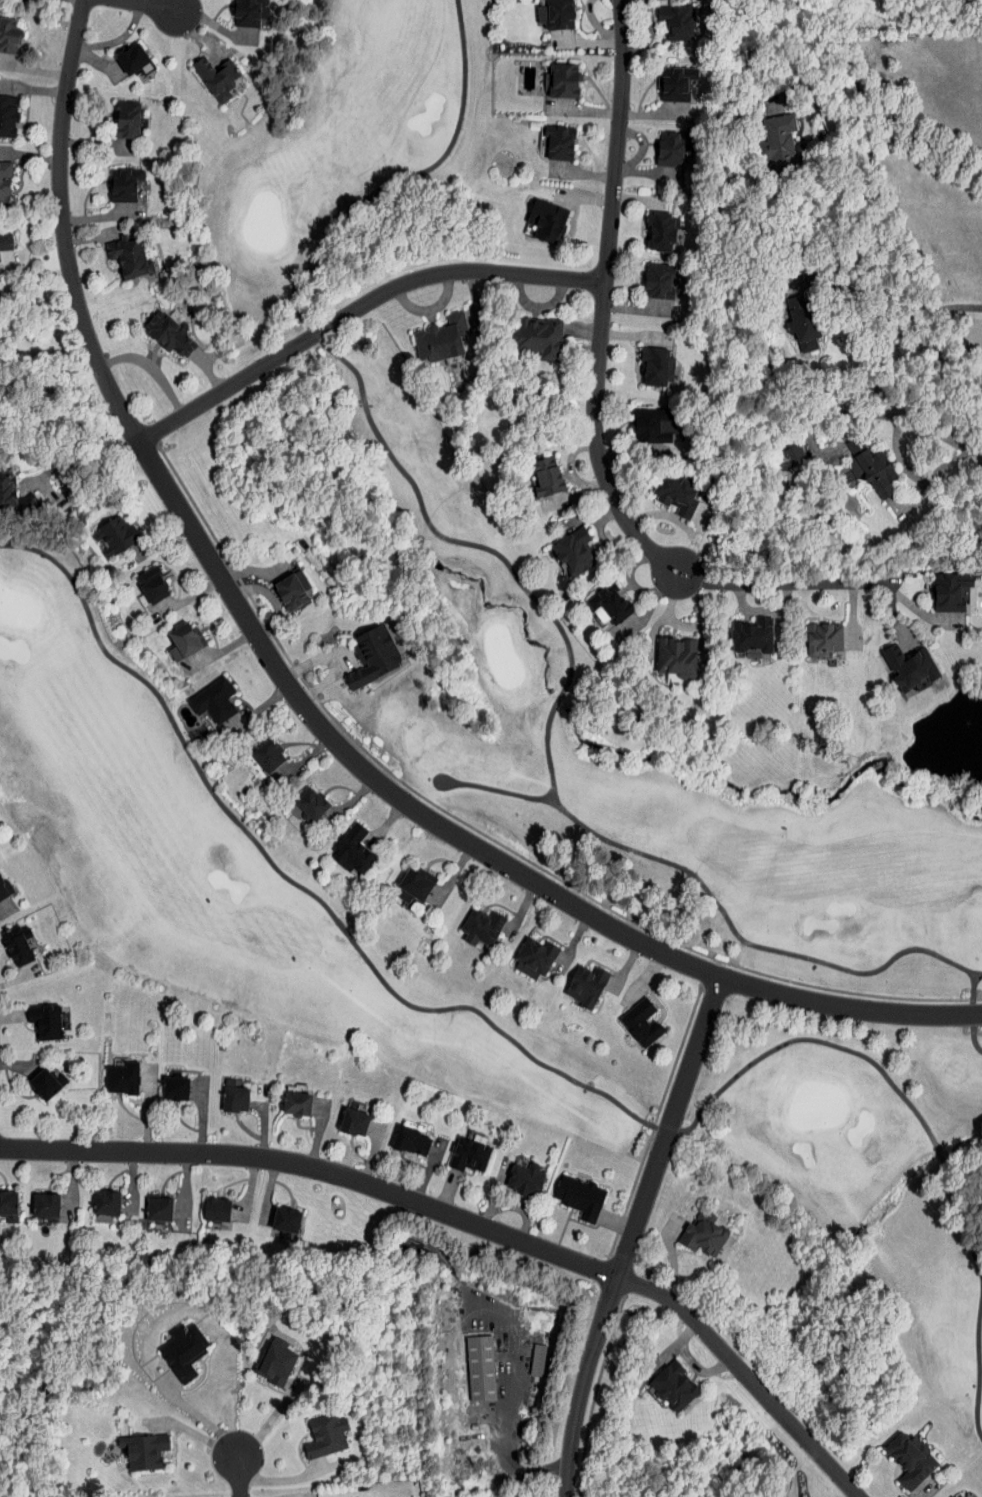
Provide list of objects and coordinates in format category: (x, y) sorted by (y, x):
road: (146, 4)
road: (178, 5)
building: (249, 12)
building: (555, 14)
park: (853, 15)
building: (679, 22)
road: (212, 24)
road: (196, 34)
building: (8, 36)
road: (93, 46)
building: (134, 60)
road: (34, 69)
building: (217, 77)
building: (563, 81)
building: (676, 84)
road: (33, 90)
building: (7, 116)
building: (126, 120)
road: (893, 128)
building: (778, 136)
building: (559, 141)
road: (97, 145)
building: (671, 148)
road: (29, 155)
building: (4, 183)
building: (124, 184)
road: (98, 216)
building: (547, 221)
building: (660, 232)
road: (95, 236)
building: (5, 241)
road: (35, 241)
building: (128, 256)
road: (34, 271)
road: (474, 298)
road: (601, 299)
road: (537, 306)
road: (356, 308)
road: (428, 309)
road: (884, 320)
building: (802, 322)
building: (169, 332)
building: (537, 338)
building: (440, 339)
building: (656, 366)
road: (149, 368)
road: (207, 373)
road: (922, 425)
building: (650, 428)
road: (814, 445)
building: (791, 456)
road: (80, 459)
building: (873, 472)
road: (914, 475)
building: (548, 484)
building: (675, 496)
road: (919, 498)
building: (114, 533)
road: (162, 542)
building: (573, 552)
road: (252, 571)
building: (151, 583)
building: (292, 588)
building: (950, 592)
road: (188, 598)
road: (273, 600)
building: (612, 602)
building: (752, 638)
building: (182, 640)
building: (823, 641)
road: (221, 651)
building: (372, 654)
road: (340, 655)
building: (676, 657)
building: (910, 668)
building: (214, 699)
road: (303, 703)
road: (256, 712)
building: (267, 754)
road: (308, 757)
park: (518, 773)
building: (310, 802)
road: (349, 802)
road: (386, 822)
building: (353, 849)
road: (453, 875)
building: (413, 884)
road: (522, 909)
building: (481, 926)
road: (574, 941)
building: (18, 944)
building: (534, 957)
road: (627, 966)
road: (645, 979)
building: (586, 984)
building: (44, 1020)
building: (641, 1022)
building: (122, 1077)
building: (46, 1081)
building: (174, 1084)
building: (234, 1094)
building: (296, 1102)
building: (354, 1118)
building: (411, 1141)
road: (315, 1144)
building: (468, 1154)
road: (370, 1160)
road: (317, 1166)
road: (76, 1172)
building: (522, 1177)
building: (580, 1197)
building: (7, 1202)
building: (105, 1202)
building: (44, 1205)
building: (159, 1206)
building: (215, 1208)
building: (285, 1222)
building: (703, 1232)
road: (631, 1234)
building: (183, 1350)
building: (274, 1363)
building: (480, 1368)
road: (519, 1368)
road: (745, 1376)
building: (674, 1386)
road: (272, 1418)
road: (205, 1419)
road: (193, 1431)
building: (325, 1435)
building: (145, 1451)
building: (911, 1459)
road: (239, 1474)
road: (287, 1477)
building: (964, 1496)

